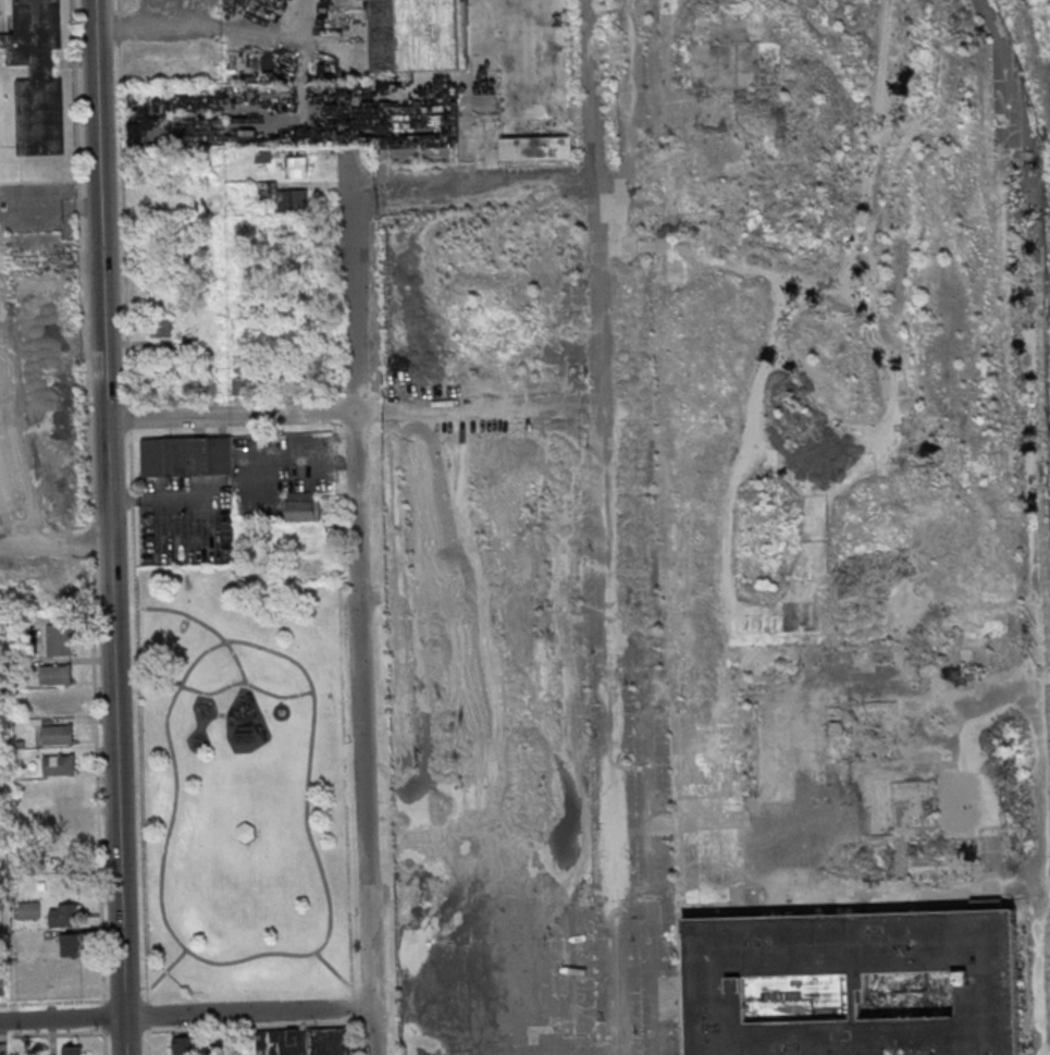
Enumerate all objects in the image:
road: (192, 32)
railway: (1038, 32)
building: (417, 34)
building: (37, 75)
building: (535, 148)
power tower: (1043, 148)
building: (295, 167)
road: (471, 193)
building: (281, 196)
road: (61, 208)
building: (162, 328)
road: (597, 334)
building: (189, 344)
building: (200, 382)
road: (351, 413)
power tower: (1049, 431)
building: (186, 456)
building: (304, 506)
road: (108, 527)
road: (132, 527)
building: (300, 543)
road: (359, 604)
road: (184, 618)
road: (207, 626)
building: (59, 639)
building: (55, 674)
road: (247, 684)
road: (281, 700)
building: (58, 704)
road: (342, 713)
building: (57, 734)
building: (59, 764)
park: (243, 785)
building: (63, 794)
building: (907, 803)
building: (66, 824)
building: (246, 834)
building: (69, 854)
road: (613, 862)
building: (64, 915)
building: (850, 943)
building: (71, 945)
road: (269, 955)
road: (165, 969)
road: (333, 970)
building: (72, 976)
building: (987, 982)
building: (2, 984)
building: (716, 984)
building: (858, 992)
road: (104, 995)
building: (799, 997)
road: (185, 1015)
road: (353, 1023)
building: (856, 1036)
building: (302, 1042)
building: (187, 1045)
building: (2, 1048)
building: (72, 1050)

